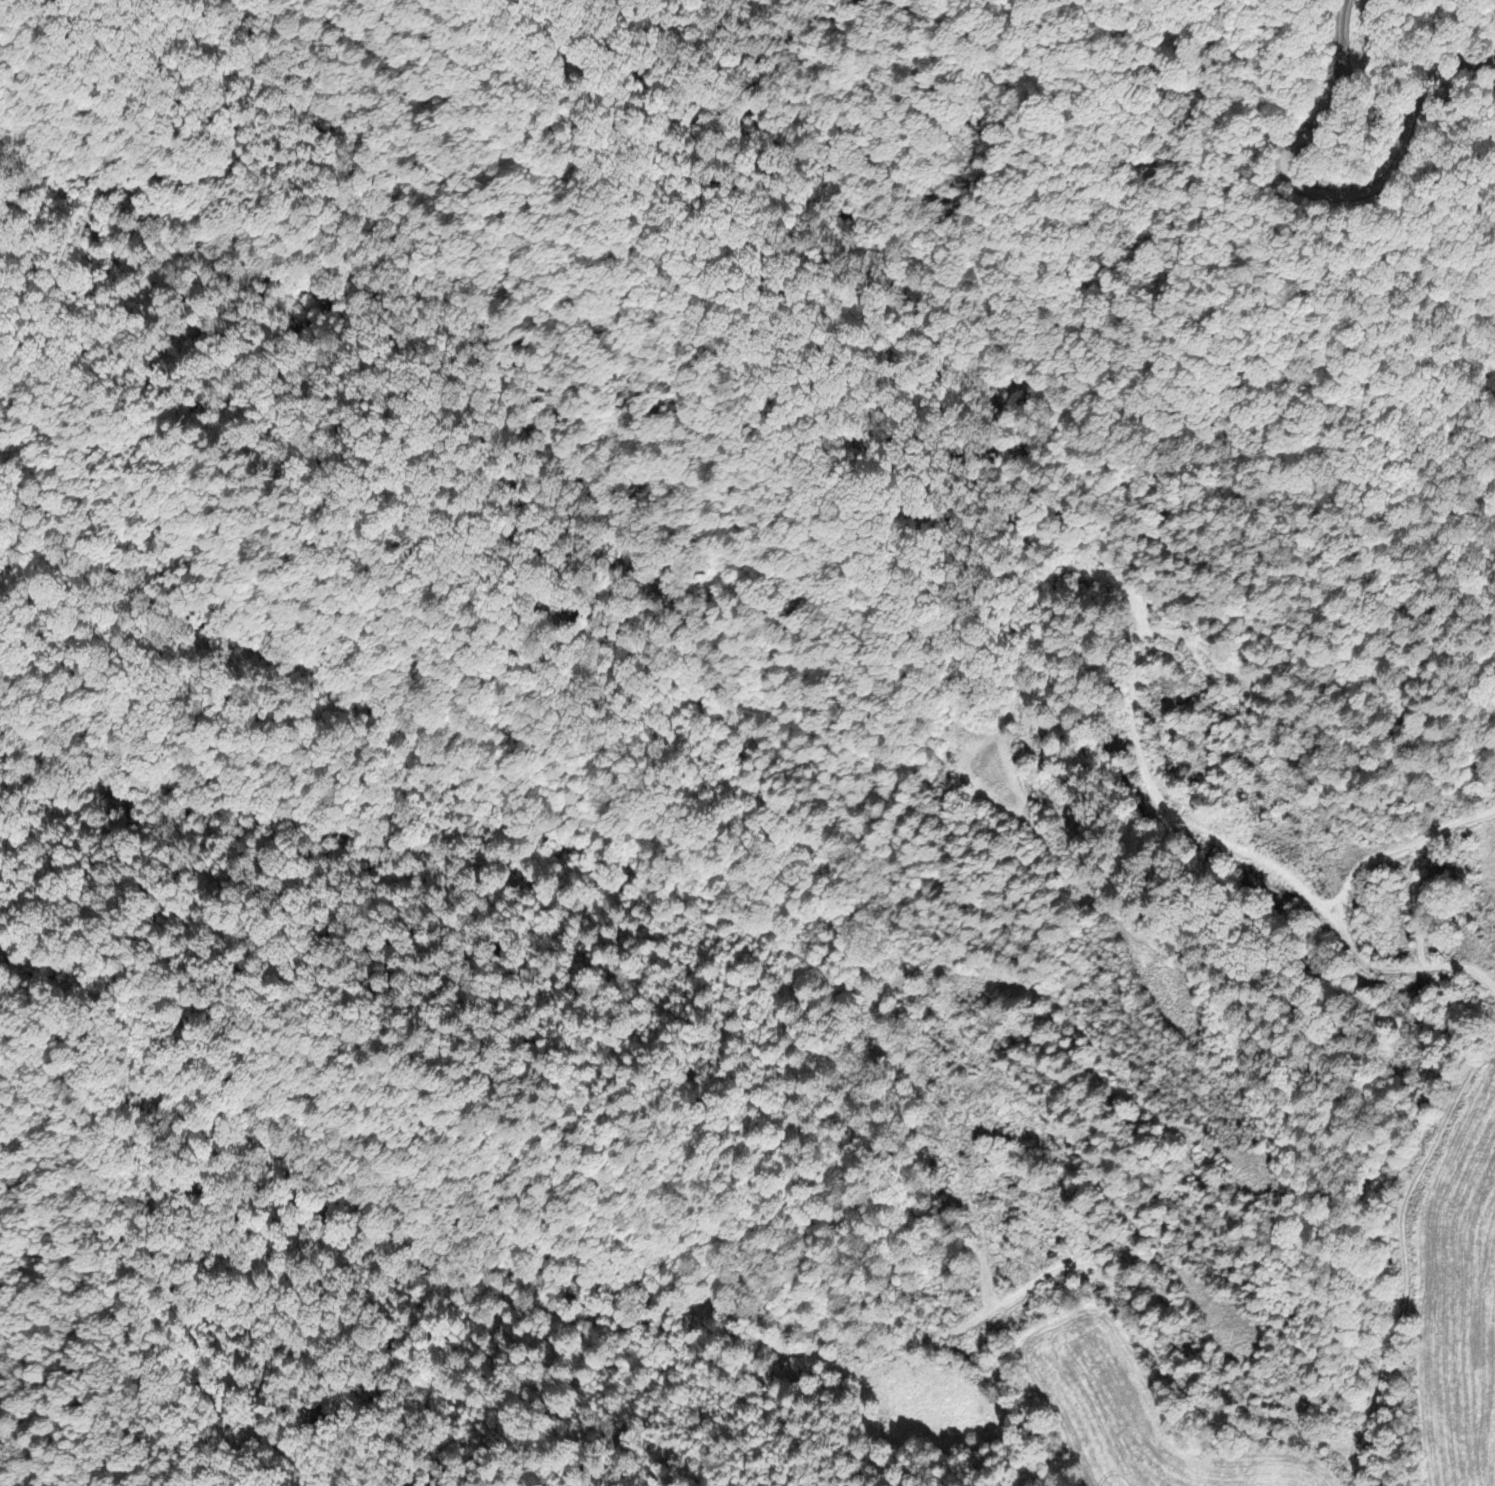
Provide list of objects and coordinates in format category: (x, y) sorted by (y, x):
road: (1319, 199)
road: (1403, 1251)

